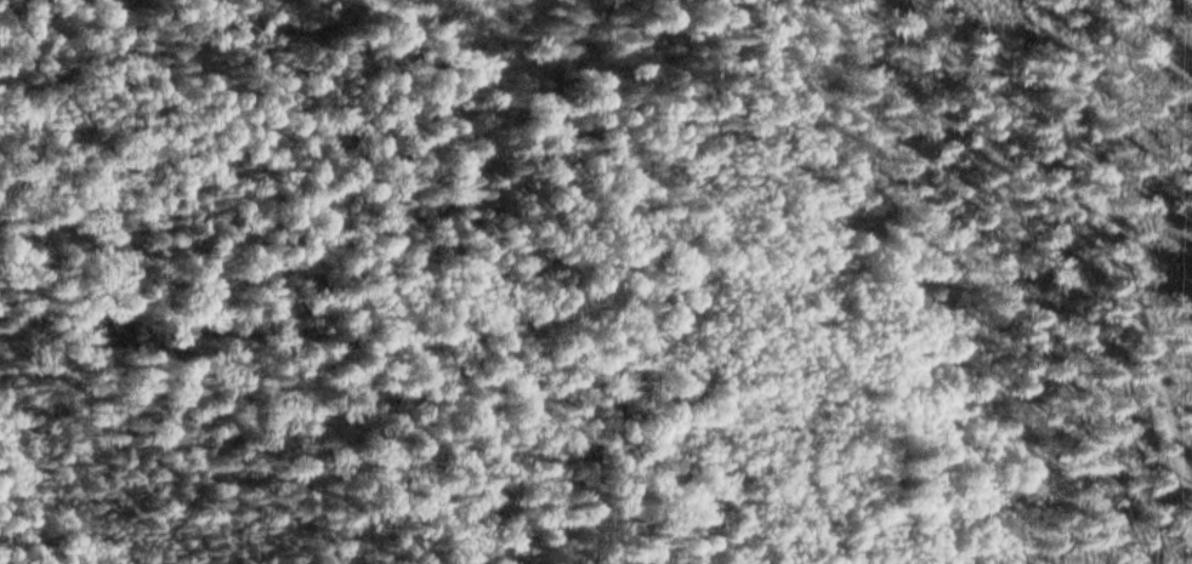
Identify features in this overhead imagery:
road: (1124, 223)

